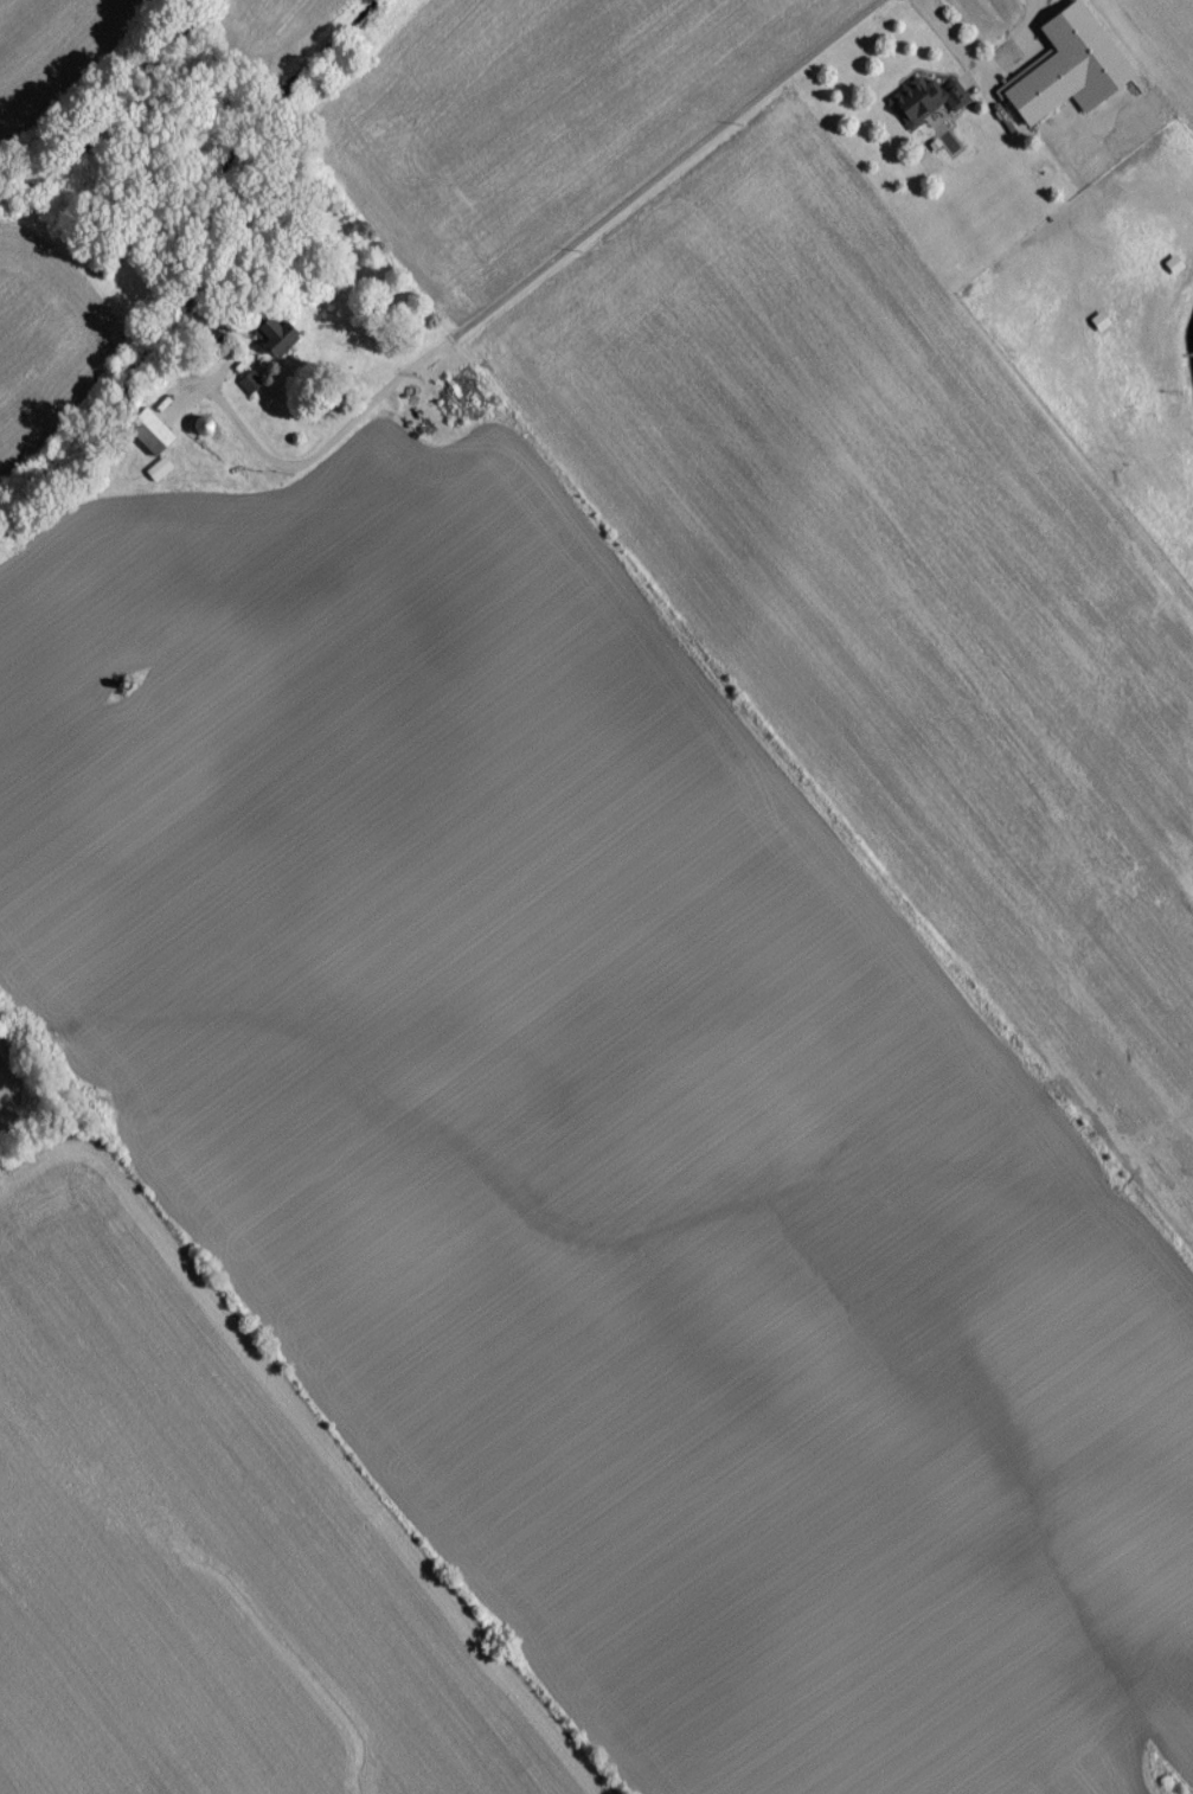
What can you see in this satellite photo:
road: (987, 66)
building: (1073, 73)
road: (537, 258)
building: (1176, 271)
building: (1102, 328)
building: (277, 341)
building: (460, 410)
building: (206, 433)
building: (434, 437)
building: (154, 440)

